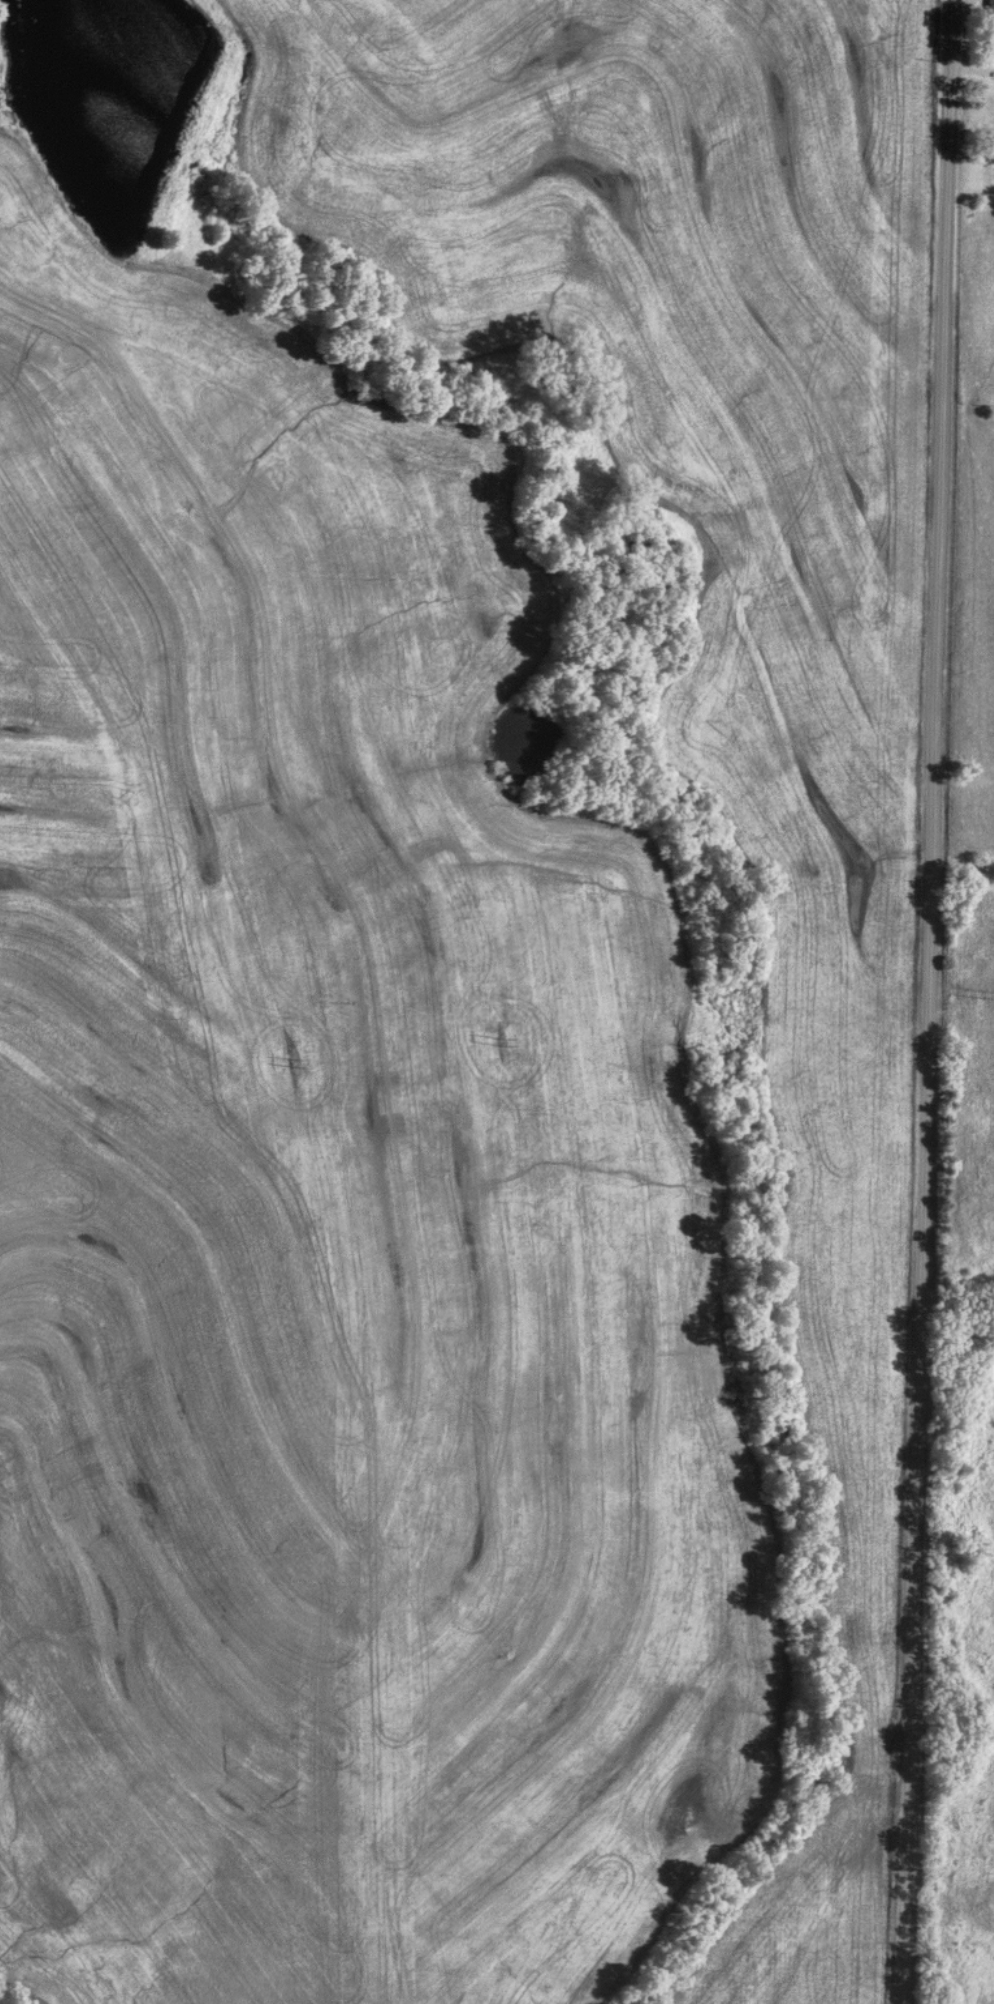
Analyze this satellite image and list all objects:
building: (990, 14)
power tower: (981, 992)
road: (928, 1001)
power tower: (500, 1040)
power tower: (288, 1062)

